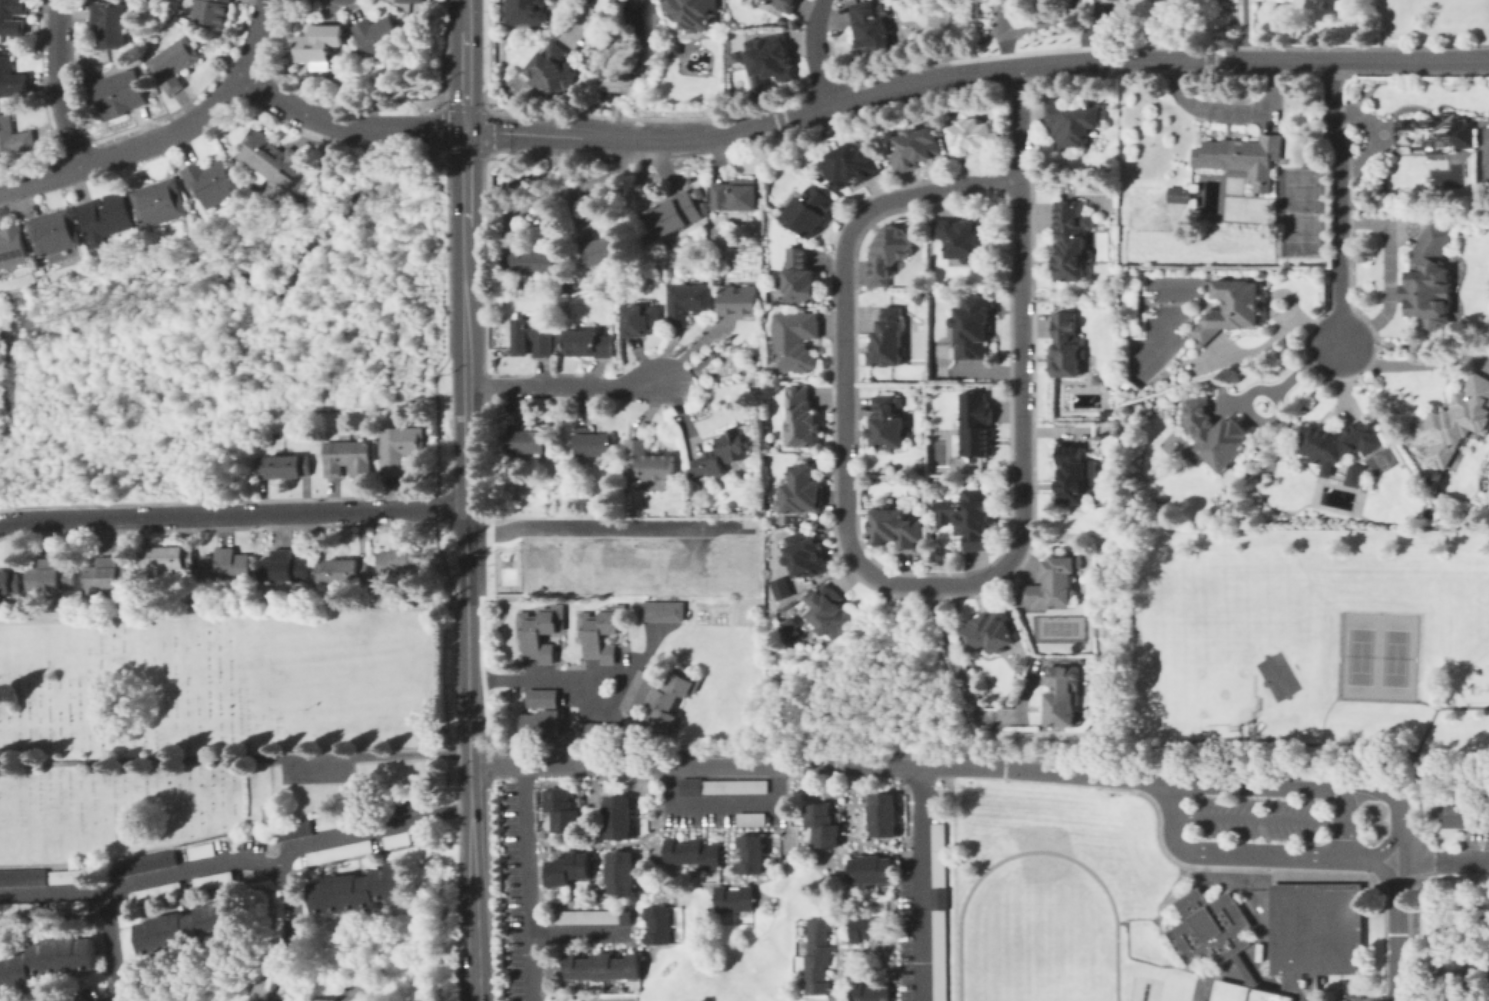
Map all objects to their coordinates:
building: (402, 0)
building: (784, 5)
building: (209, 10)
building: (528, 12)
building: (695, 13)
road: (1001, 16)
building: (12, 17)
crop: (1432, 21)
building: (782, 22)
road: (1041, 22)
building: (106, 24)
road: (1244, 28)
building: (872, 31)
building: (376, 34)
road: (257, 38)
building: (317, 42)
building: (675, 49)
road: (1003, 50)
road: (811, 52)
road: (1222, 57)
building: (770, 61)
building: (171, 62)
road: (466, 65)
building: (551, 72)
building: (11, 79)
road: (56, 85)
building: (115, 93)
road: (1021, 119)
building: (1073, 123)
road: (347, 124)
traffic signals: (467, 130)
building: (1442, 133)
road: (1376, 134)
road: (715, 136)
building: (13, 137)
building: (976, 140)
road: (129, 148)
building: (920, 151)
building: (270, 158)
building: (1245, 158)
road: (467, 163)
building: (854, 164)
building: (210, 179)
road: (600, 186)
building: (698, 193)
building: (738, 193)
building: (1180, 195)
building: (157, 200)
road: (1339, 200)
building: (703, 205)
park: (1298, 211)
building: (811, 212)
building: (673, 214)
building: (104, 216)
building: (52, 233)
building: (964, 238)
building: (1074, 241)
building: (11, 247)
building: (600, 249)
building: (889, 255)
building: (533, 262)
road: (1386, 268)
building: (803, 277)
building: (1432, 279)
building: (741, 299)
building: (689, 301)
building: (1235, 308)
building: (642, 320)
building: (972, 327)
building: (534, 336)
building: (798, 338)
building: (889, 338)
building: (588, 343)
building: (1068, 346)
road: (1409, 363)
road: (465, 380)
road: (563, 385)
building: (804, 417)
building: (888, 423)
building: (1455, 423)
building: (979, 425)
building: (1218, 434)
building: (1339, 441)
building: (528, 442)
building: (594, 444)
building: (397, 445)
building: (345, 455)
building: (724, 455)
park: (1378, 459)
building: (651, 460)
building: (282, 464)
building: (1354, 475)
building: (1080, 479)
building: (803, 490)
road: (232, 513)
building: (977, 518)
road: (601, 525)
building: (897, 528)
road: (694, 542)
building: (940, 554)
building: (805, 556)
building: (168, 557)
building: (401, 559)
building: (223, 564)
building: (281, 566)
building: (340, 569)
building: (105, 572)
road: (871, 572)
building: (47, 574)
building: (8, 580)
building: (1053, 585)
building: (780, 589)
park: (1243, 590)
building: (661, 611)
building: (833, 612)
park: (1057, 626)
building: (791, 631)
building: (992, 631)
building: (540, 632)
building: (600, 633)
park: (1292, 643)
park: (1358, 655)
park: (1393, 657)
park: (1196, 669)
road: (964, 674)
park: (1276, 674)
park: (1162, 675)
road: (571, 679)
building: (639, 693)
building: (1064, 696)
building: (671, 697)
building: (542, 698)
road: (1425, 703)
road: (1321, 718)
park: (212, 720)
building: (541, 724)
road: (1449, 725)
building: (596, 731)
road: (372, 754)
road: (1416, 756)
road: (821, 764)
road: (469, 783)
road: (1332, 786)
building: (723, 787)
road: (721, 801)
building: (397, 805)
building: (269, 809)
building: (565, 811)
road: (1156, 813)
building: (884, 815)
road: (1259, 815)
building: (1464, 816)
building: (621, 817)
road: (1344, 818)
building: (753, 819)
building: (327, 820)
parking lot: (1258, 821)
building: (824, 826)
building: (292, 827)
road: (355, 831)
building: (394, 838)
road: (438, 841)
road: (1385, 843)
building: (198, 849)
building: (336, 850)
park: (1038, 851)
road: (1241, 851)
building: (694, 853)
building: (754, 854)
road: (1460, 858)
road: (1416, 859)
building: (143, 861)
road: (257, 861)
building: (571, 869)
building: (873, 870)
road: (1384, 871)
building: (623, 873)
building: (21, 875)
building: (66, 875)
building: (211, 878)
road: (525, 882)
road: (919, 882)
building: (358, 888)
road: (52, 891)
building: (154, 891)
building: (736, 899)
building: (67, 905)
building: (18, 908)
building: (1477, 908)
building: (941, 911)
building: (597, 917)
road: (1121, 921)
road: (1159, 922)
track: (1114, 923)
building: (660, 925)
building: (185, 926)
building: (1207, 926)
building: (871, 929)
road: (571, 931)
building: (1312, 933)
road: (1395, 945)
road: (111, 946)
road: (1126, 947)
building: (820, 956)
building: (45, 959)
building: (1241, 966)
building: (605, 967)
building: (1488, 969)
building: (128, 974)
park: (1043, 975)
park: (1202, 985)
building: (1228, 991)
building: (869, 992)
parking lot: (1402, 994)
building: (1267, 995)
road: (1367, 998)
building: (350, 1000)
park: (1193, 1000)

